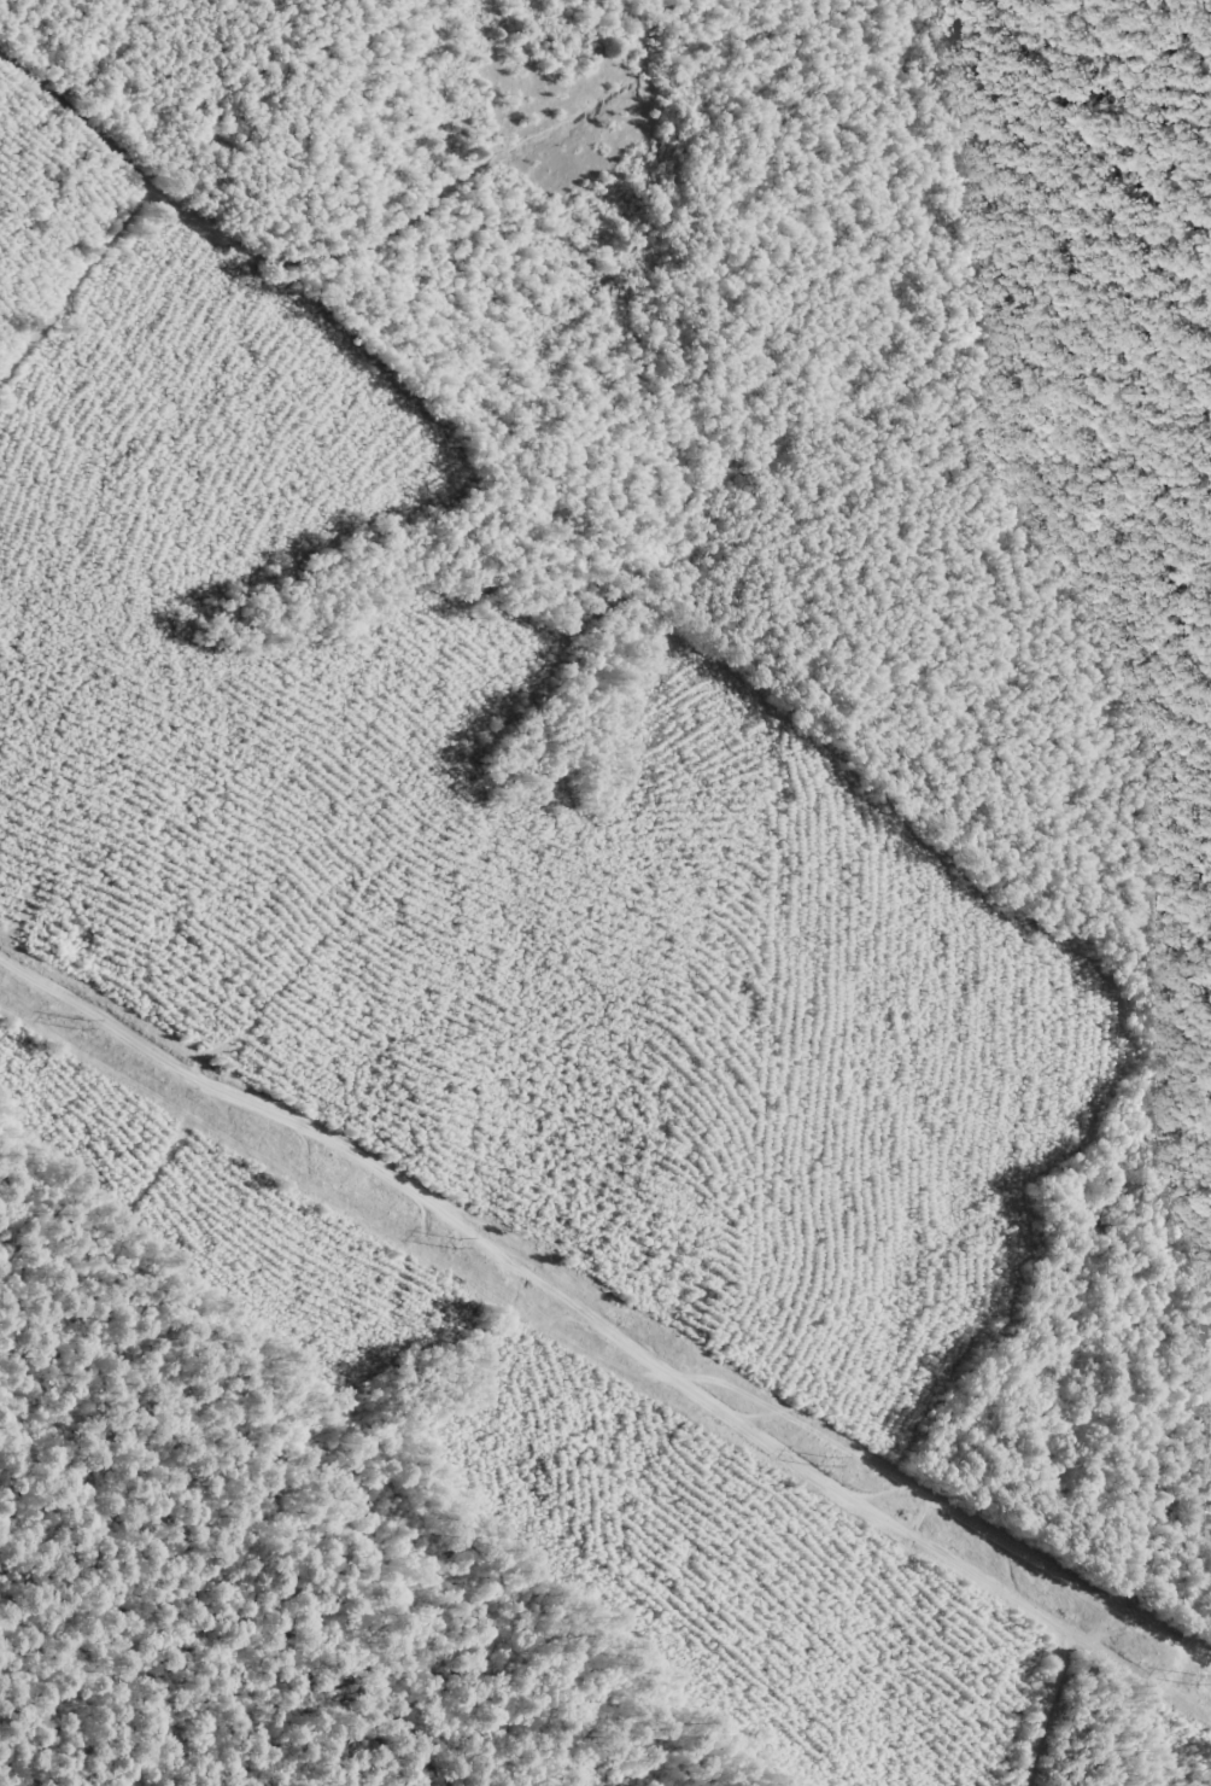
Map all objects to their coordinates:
power tower: (81, 1022)
power tower: (454, 1242)
road: (643, 1330)
power tower: (825, 1460)
power tower: (1198, 1680)
road: (1183, 1749)

